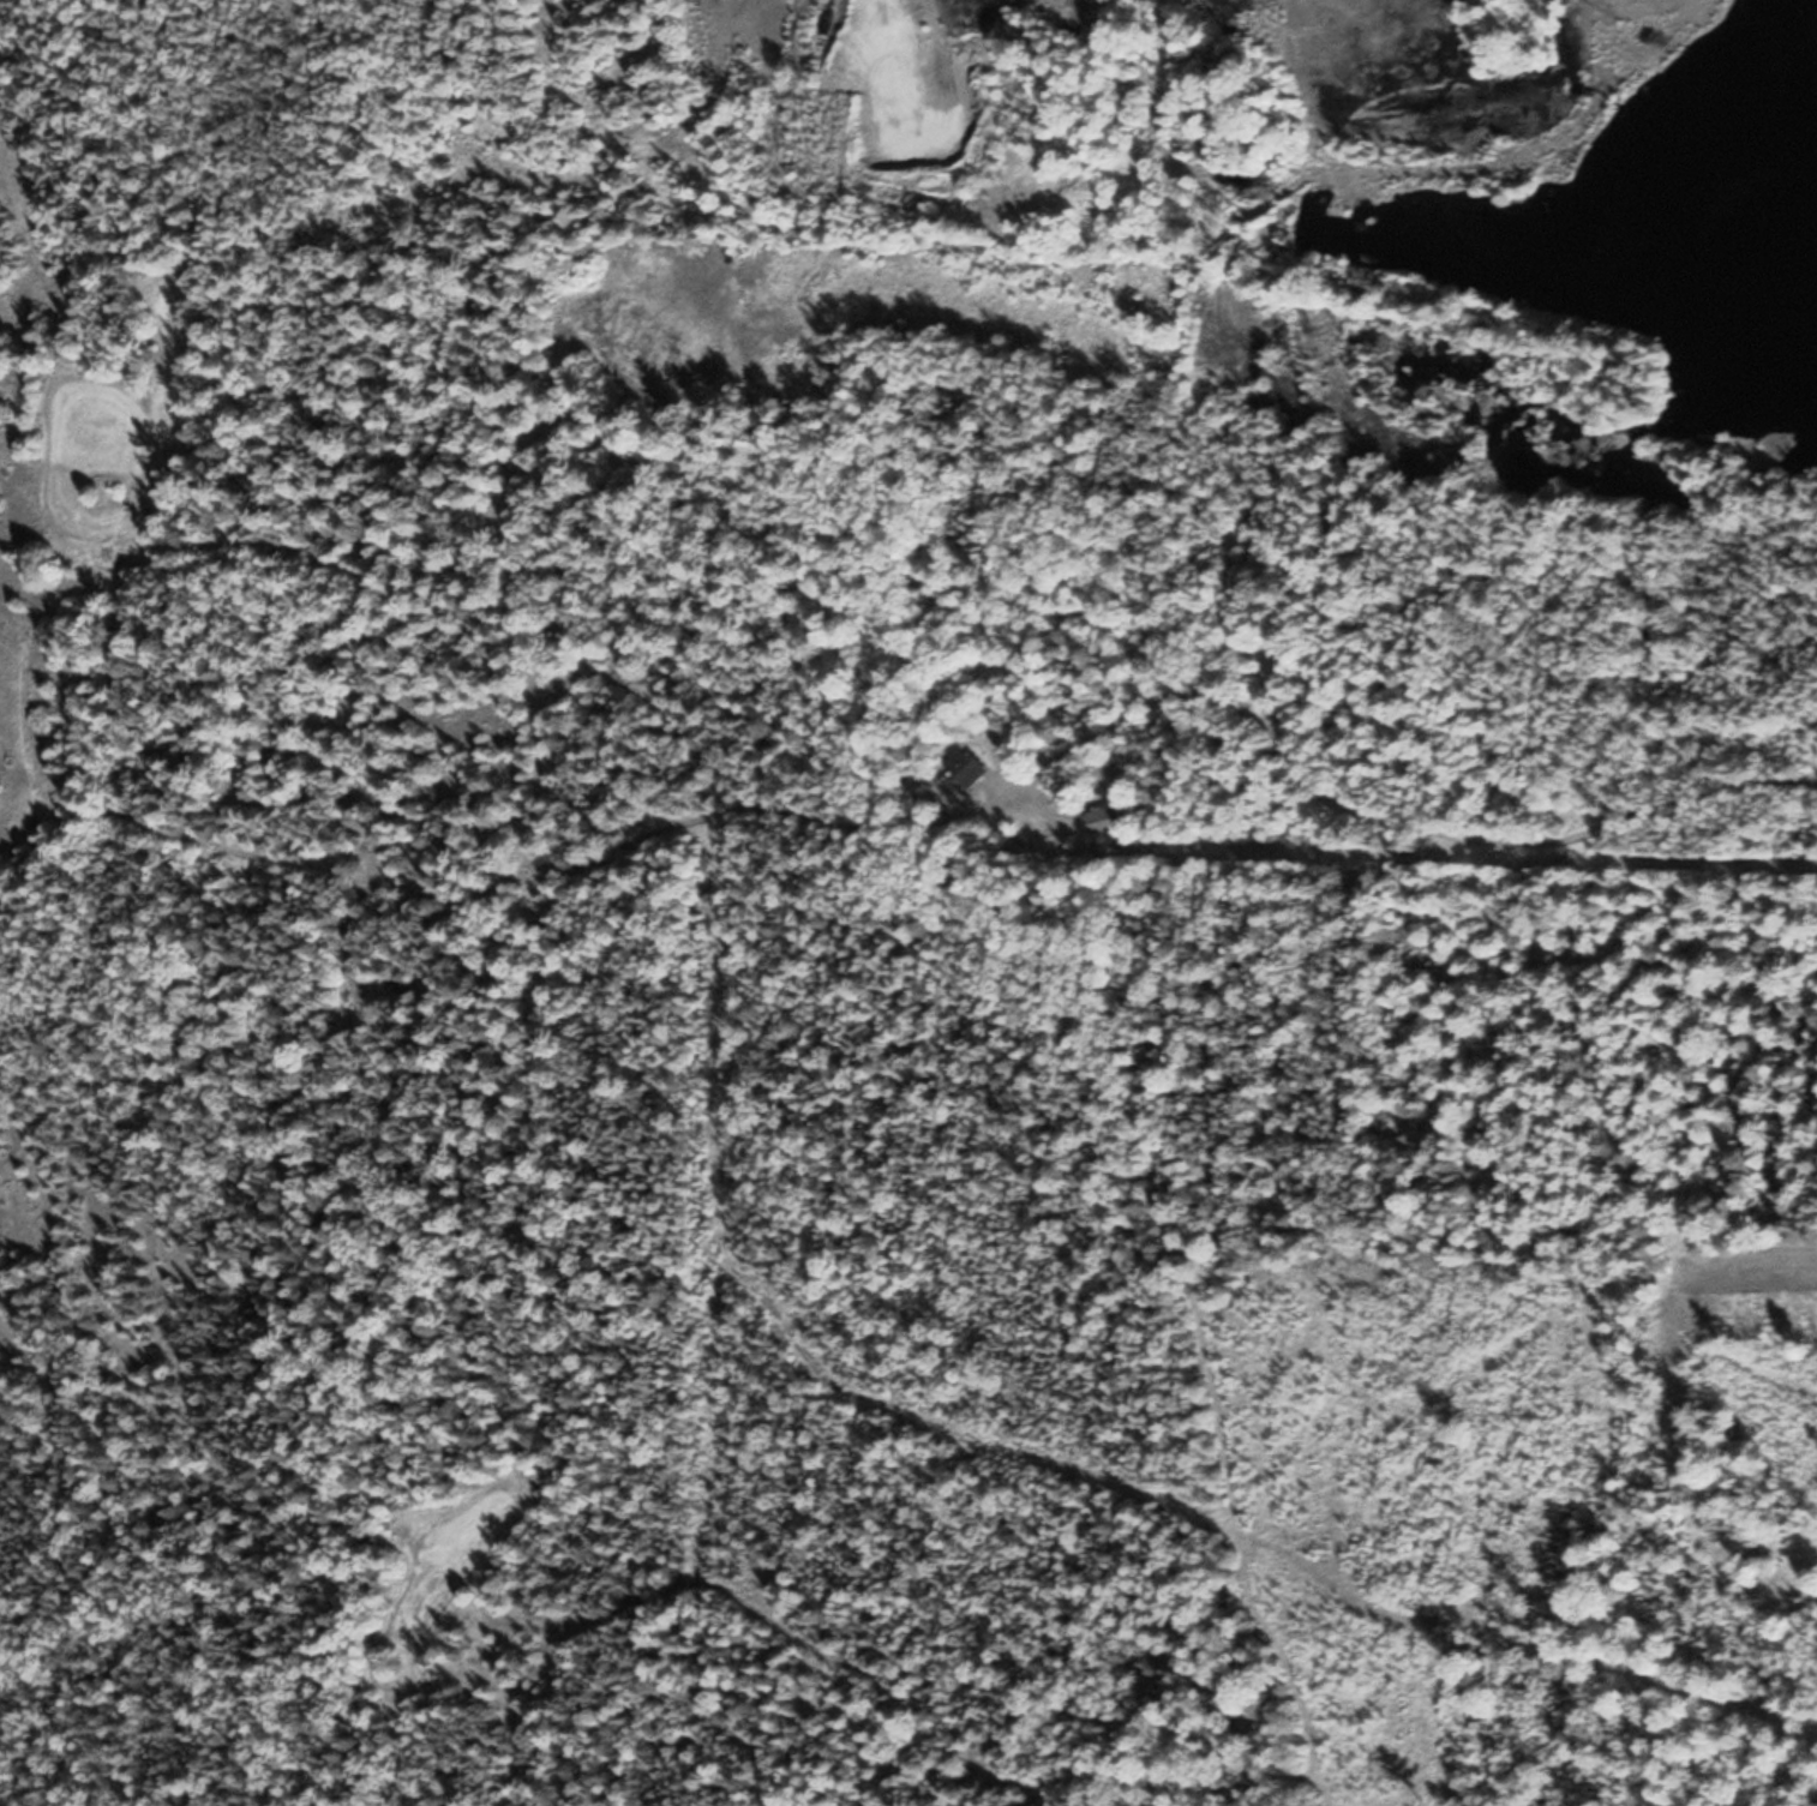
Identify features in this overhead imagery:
building: (966, 778)
road: (1399, 822)
building: (1105, 823)

